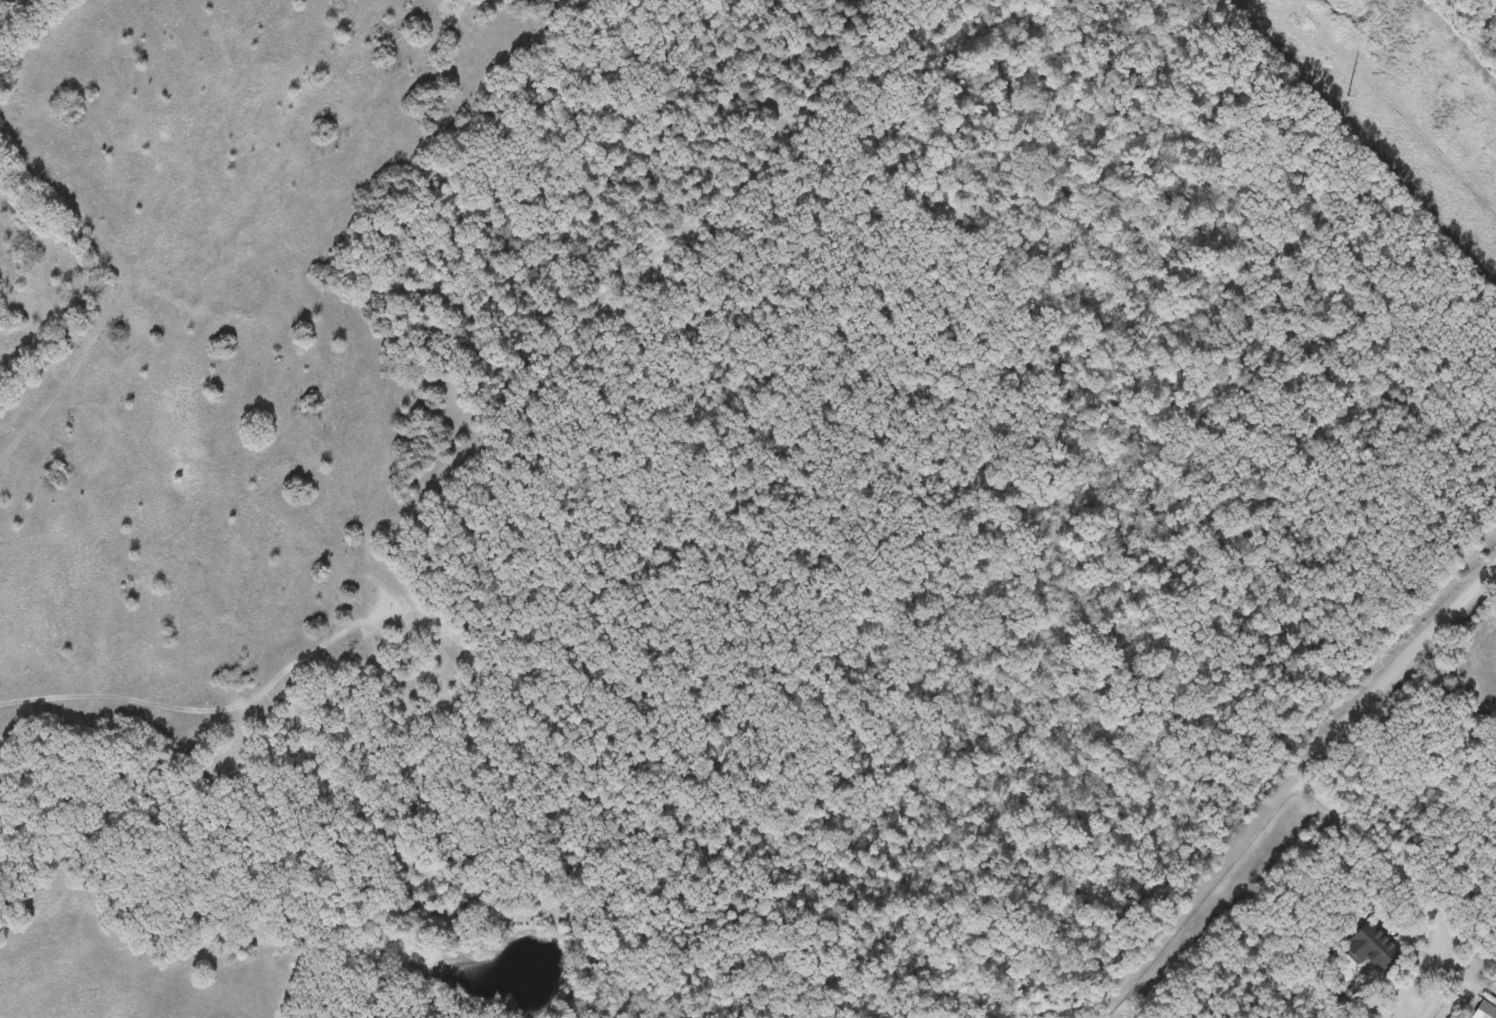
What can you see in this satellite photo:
road: (1291, 788)
road: (1382, 848)
building: (1369, 948)
road: (1413, 976)
road: (1439, 979)
building: (1483, 1011)

